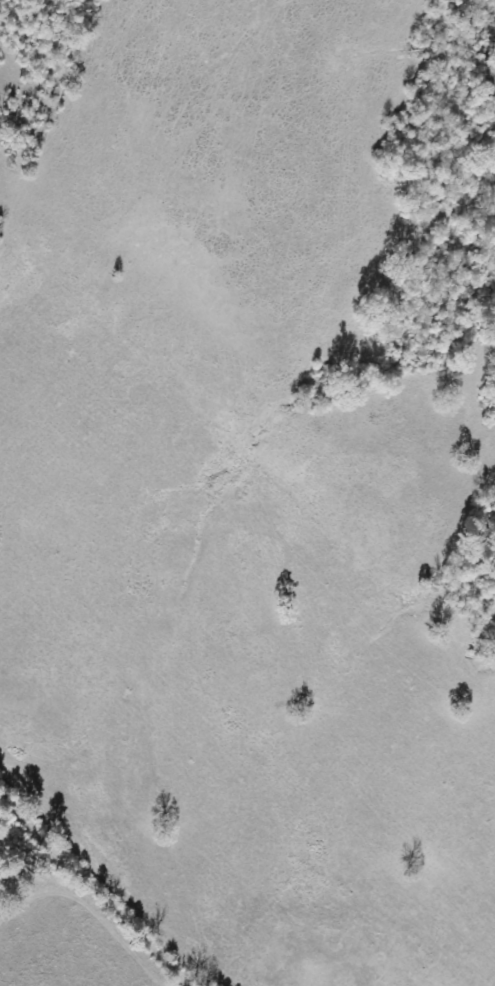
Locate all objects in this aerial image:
road: (74, 903)

